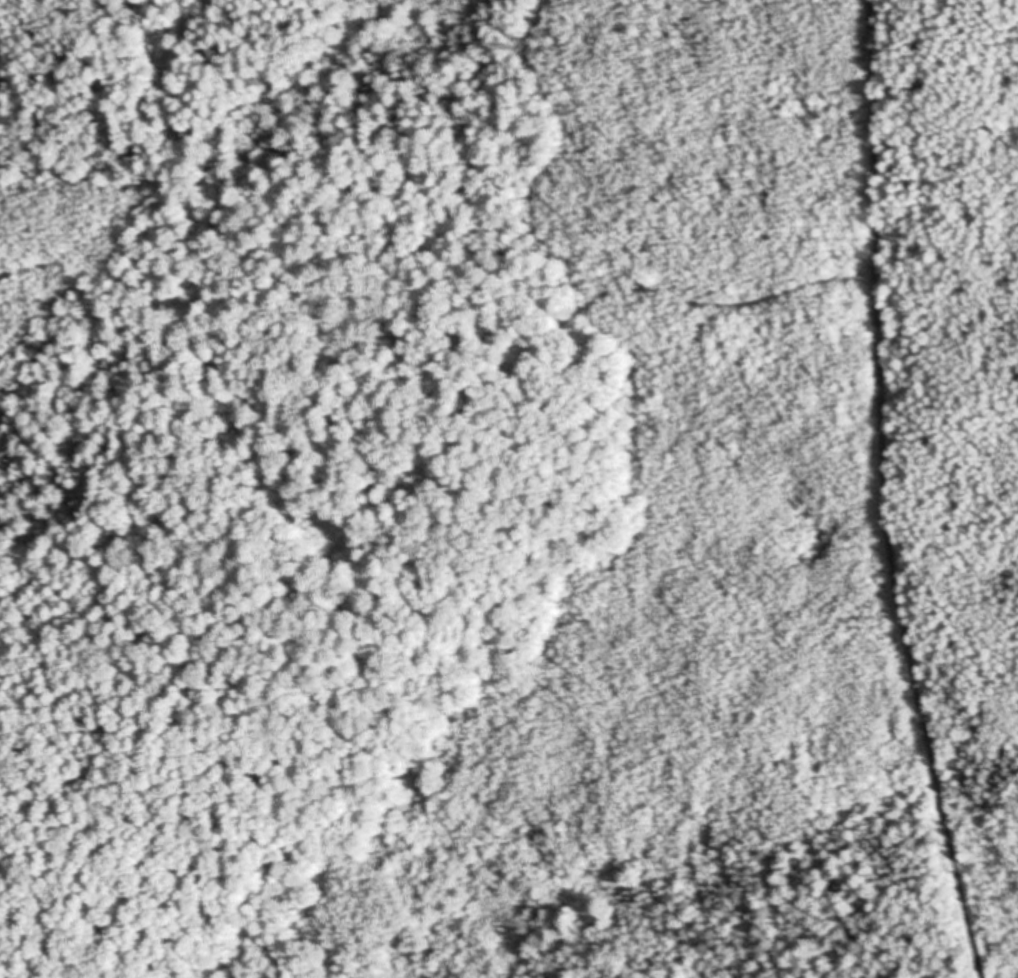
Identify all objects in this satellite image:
road: (889, 493)

